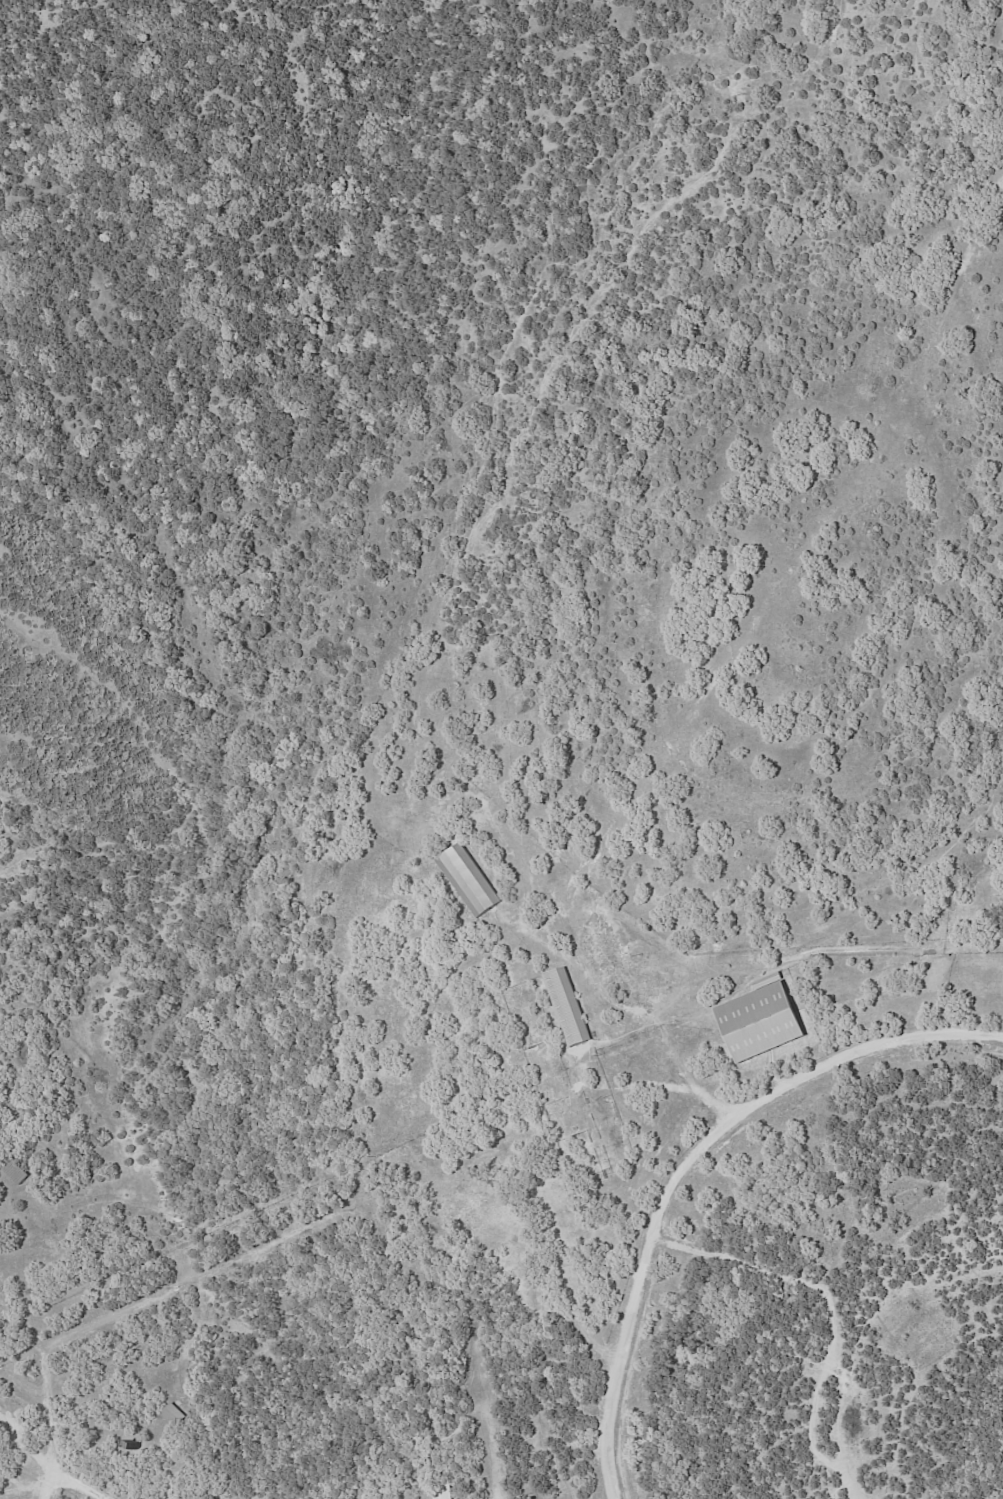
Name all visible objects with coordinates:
building: (467, 879)
building: (565, 1005)
building: (758, 1020)
road: (688, 1163)
building: (173, 1413)
road: (30, 1444)
road: (72, 1483)

